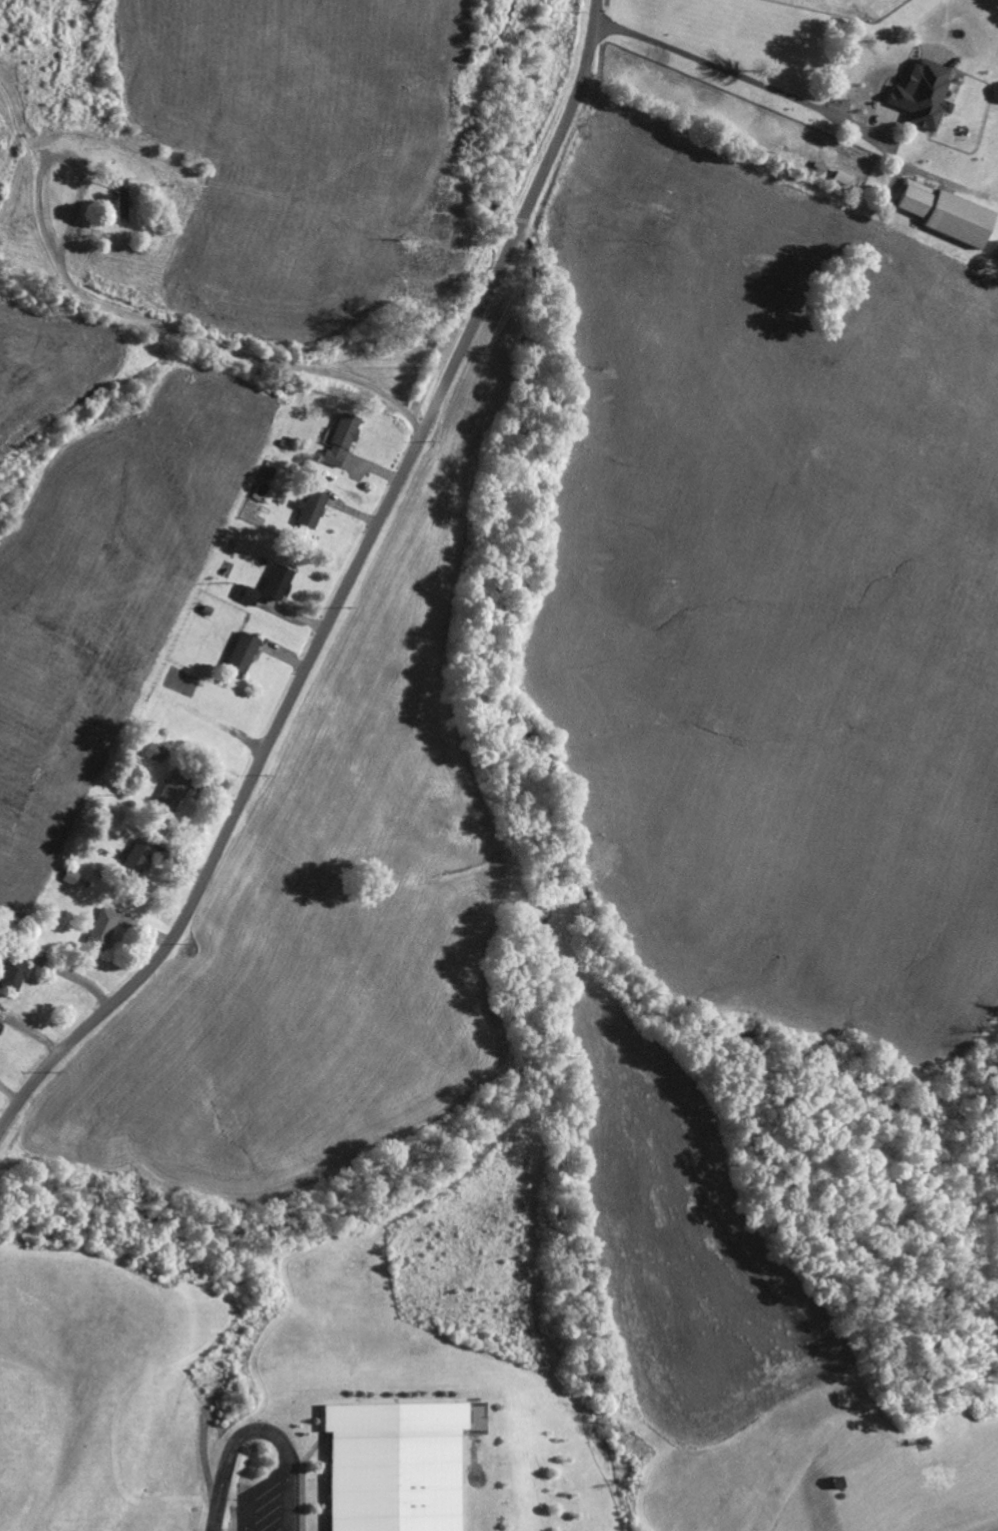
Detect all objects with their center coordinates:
road: (780, 92)
building: (927, 93)
building: (125, 199)
building: (953, 213)
road: (208, 299)
building: (343, 439)
building: (313, 507)
building: (280, 582)
road: (344, 592)
building: (249, 594)
building: (246, 651)
building: (158, 752)
building: (175, 790)
building: (141, 858)
building: (73, 876)
building: (105, 927)
building: (17, 974)
building: (0, 1022)
road: (258, 1431)
building: (399, 1465)
road: (268, 1482)
road: (246, 1514)

